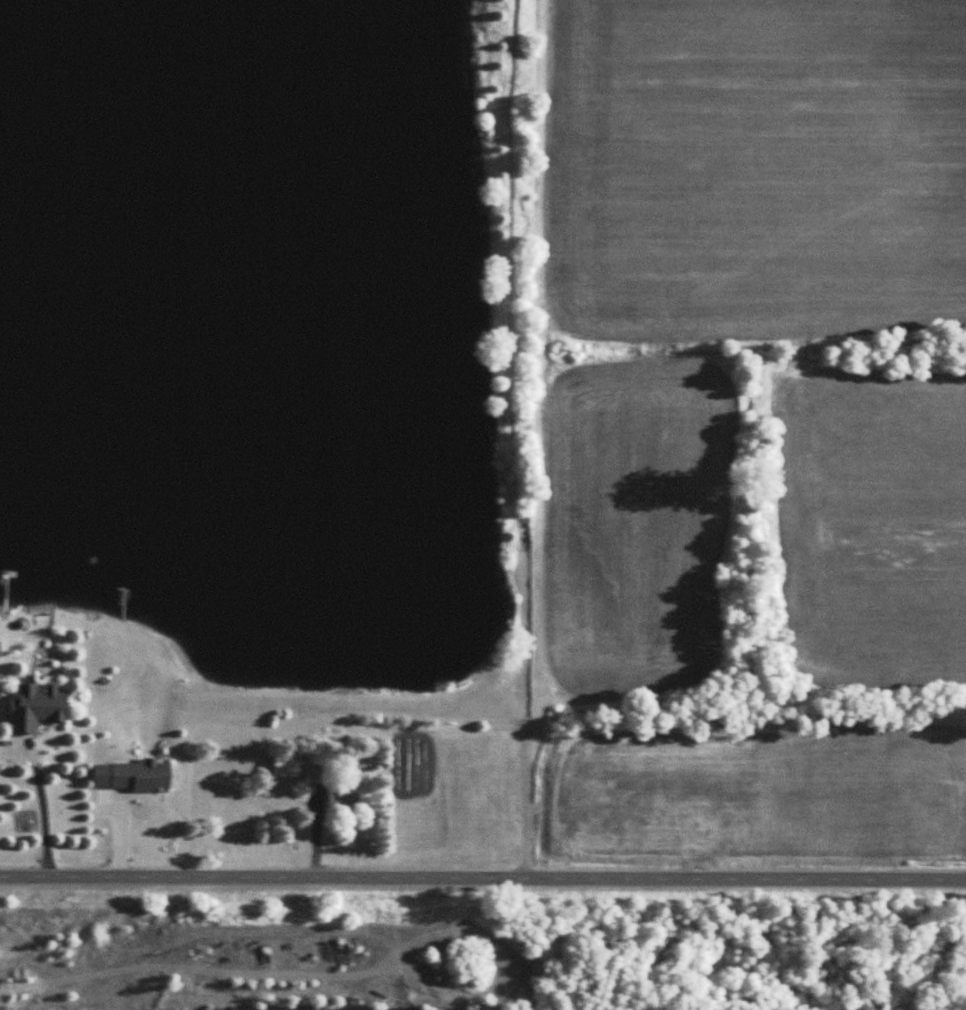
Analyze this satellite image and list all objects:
building: (40, 704)
building: (288, 765)
building: (142, 775)
building: (333, 787)
road: (31, 811)
road: (482, 878)

